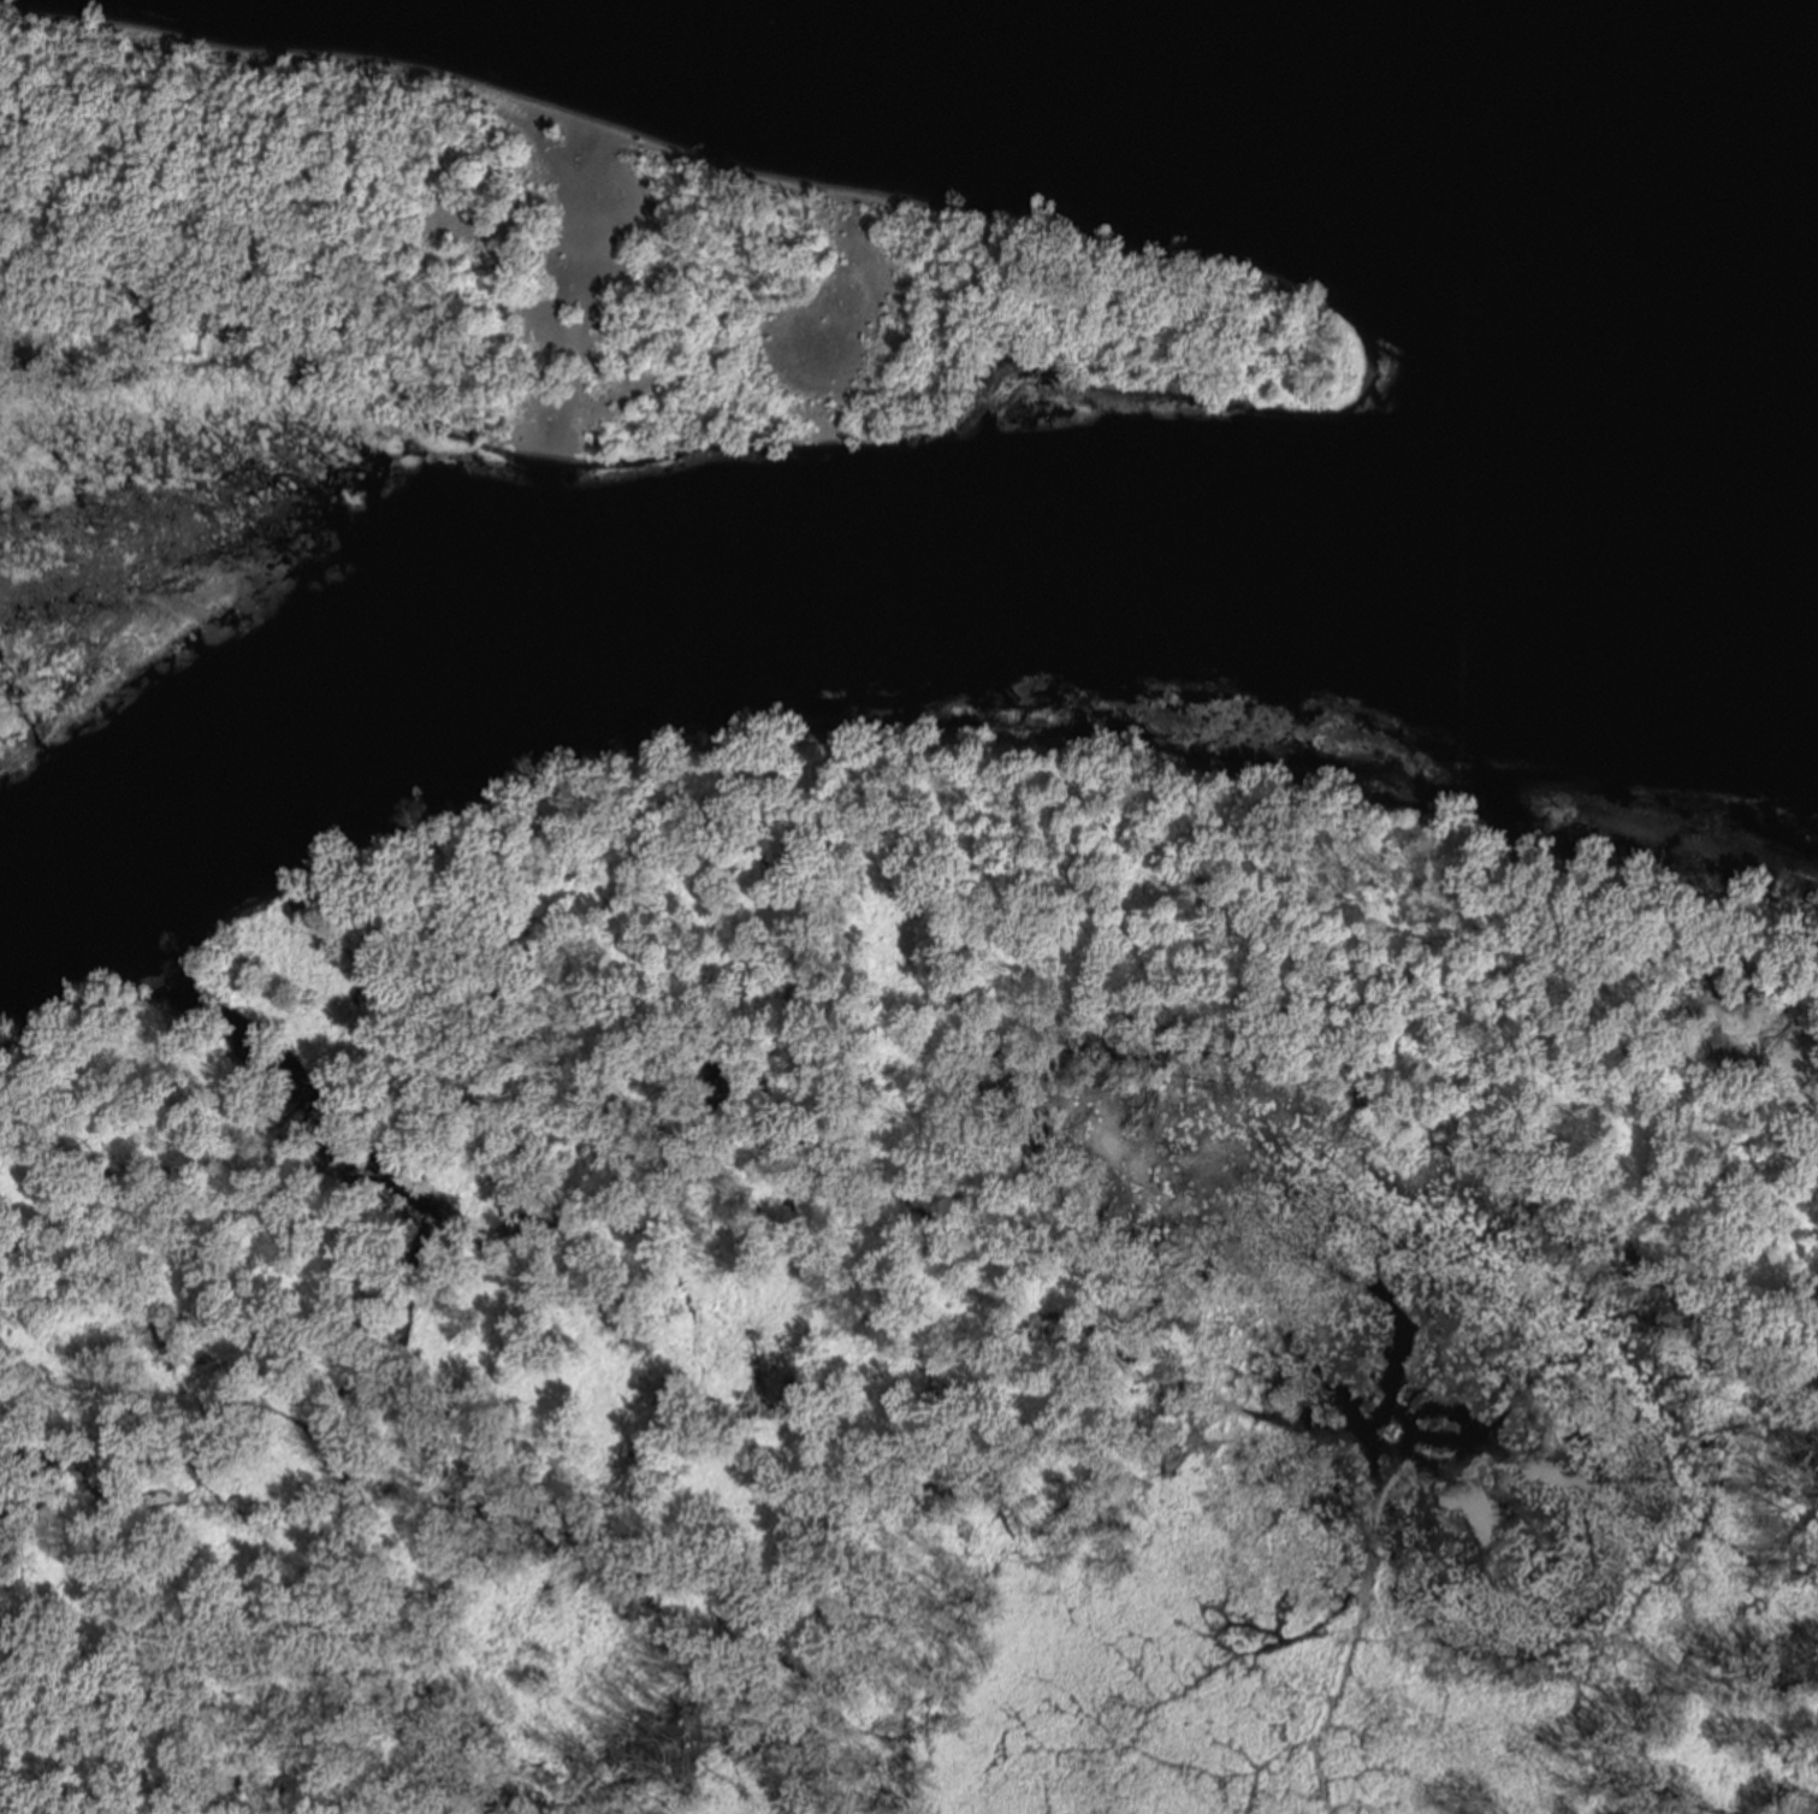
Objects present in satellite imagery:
river: (1786, 11)

